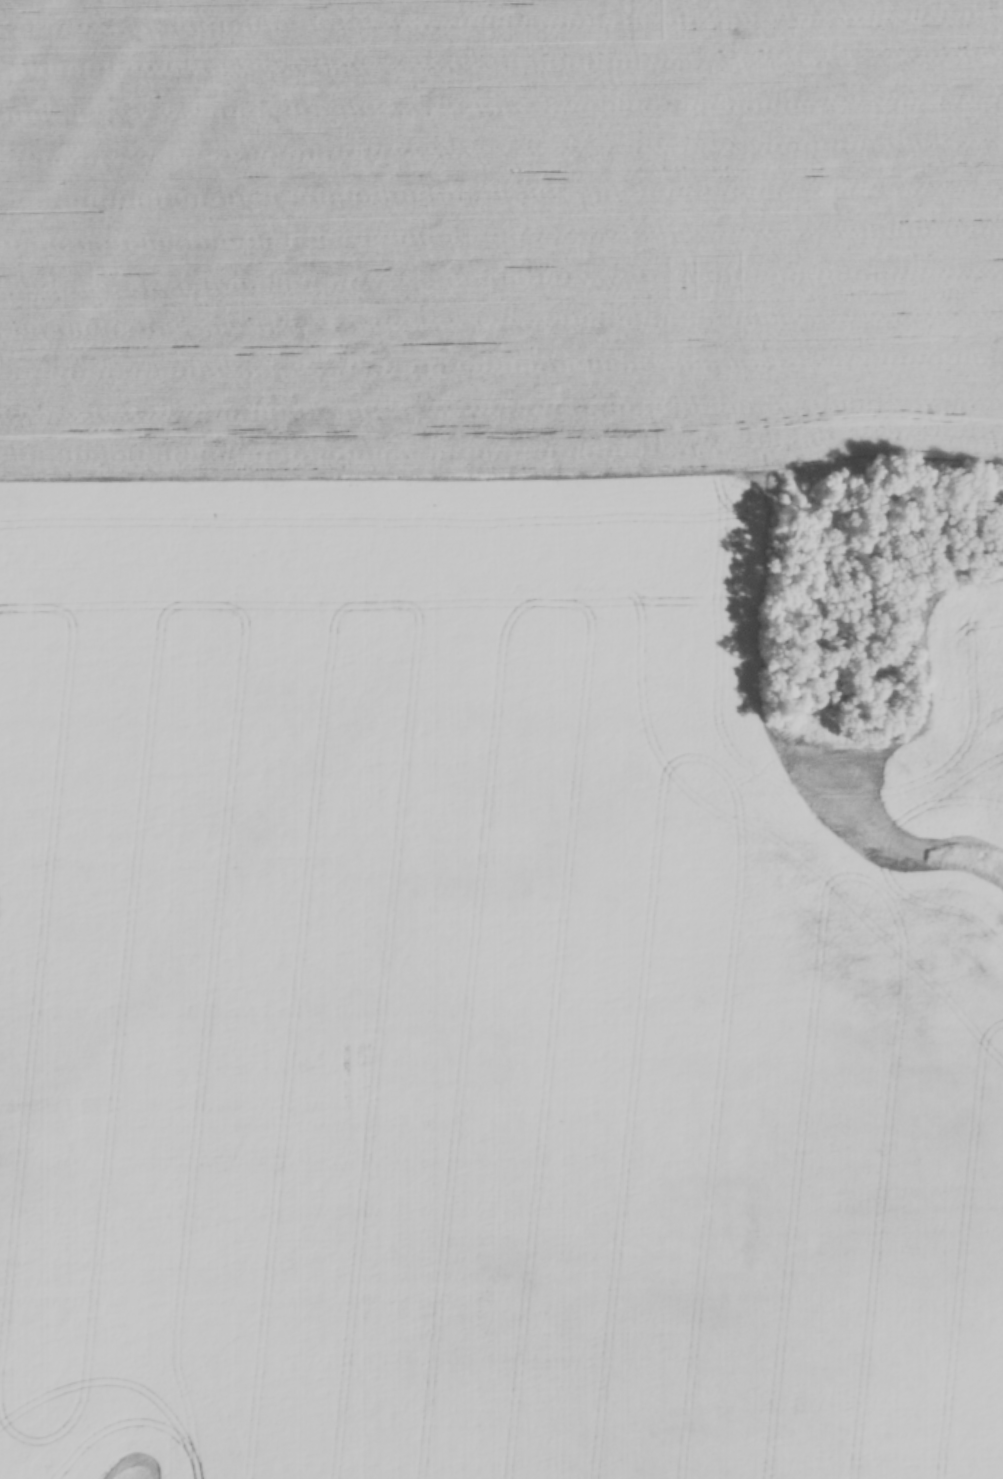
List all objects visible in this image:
road: (972, 617)
building: (942, 642)

